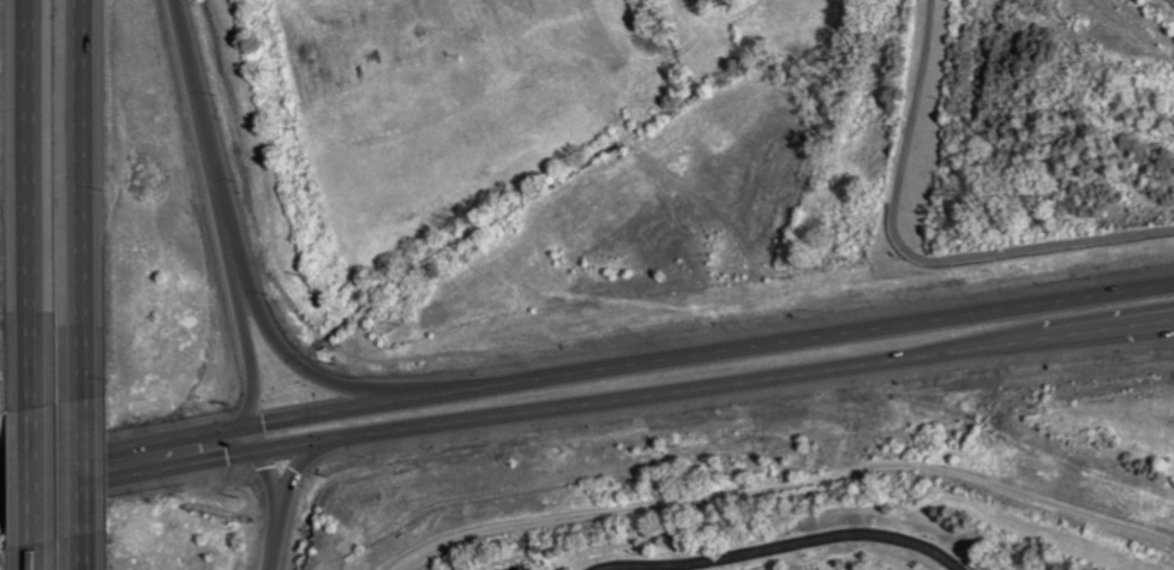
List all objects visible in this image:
road: (200, 127)
road: (88, 202)
road: (22, 205)
road: (910, 254)
road: (242, 343)
road: (312, 374)
road: (586, 376)
road: (586, 415)
road: (86, 473)
road: (30, 476)
road: (264, 499)
road: (282, 500)
road: (781, 545)
road: (30, 556)
road: (88, 556)
road: (265, 569)

